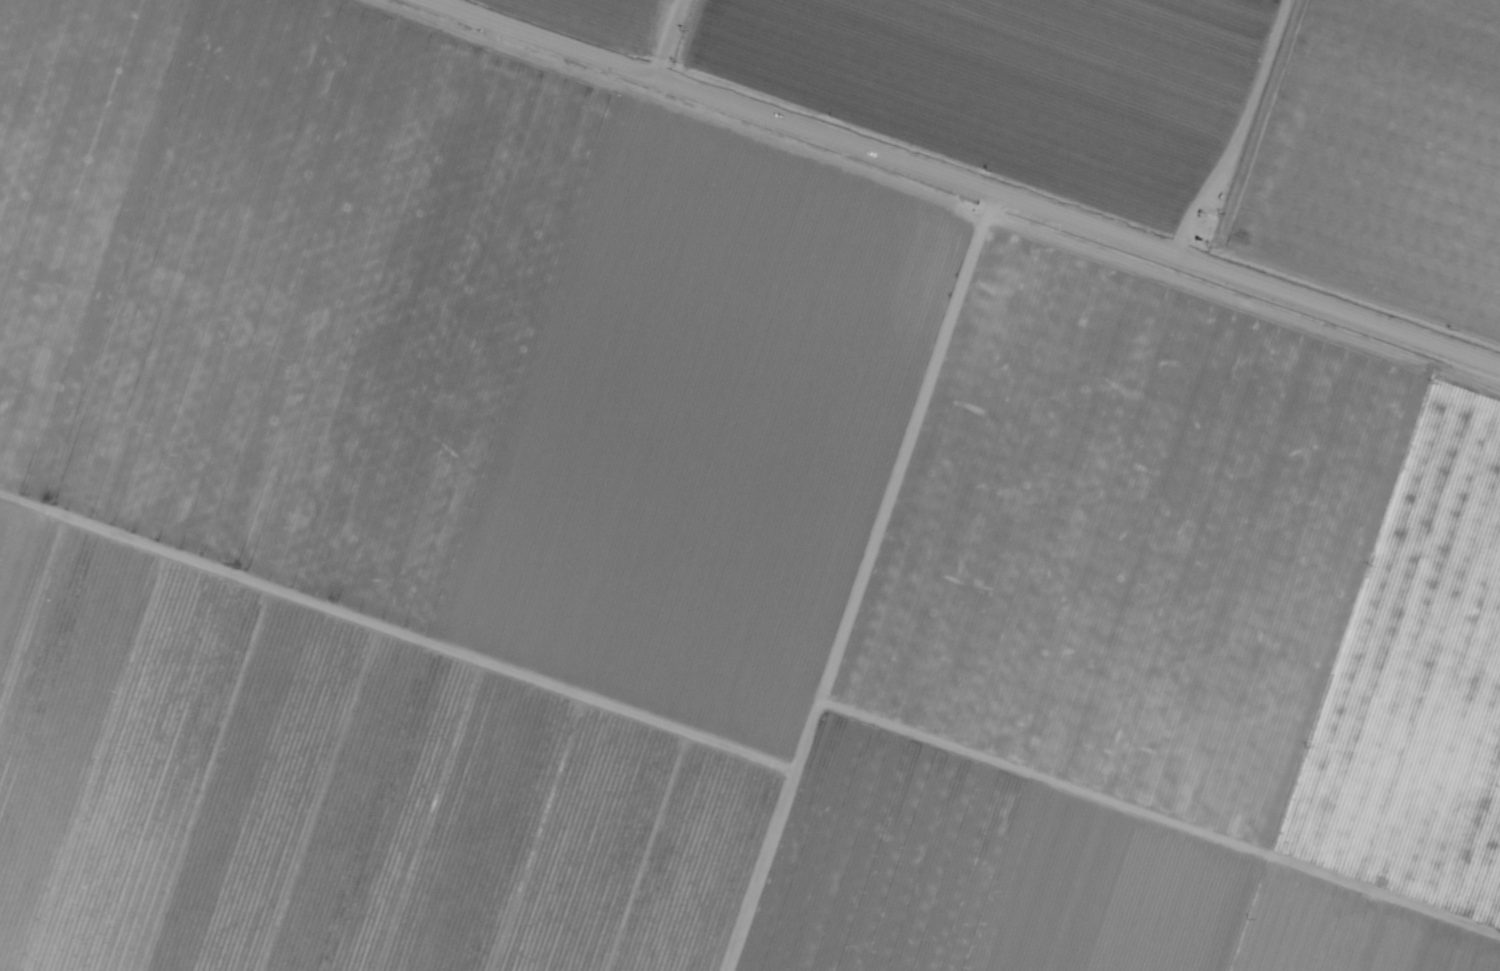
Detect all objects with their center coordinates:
crop: (605, 19)
road: (669, 39)
crop: (1017, 83)
crop: (1381, 155)
road: (962, 182)
crop: (456, 342)
crop: (1202, 575)
crop: (330, 792)
crop: (1039, 883)

